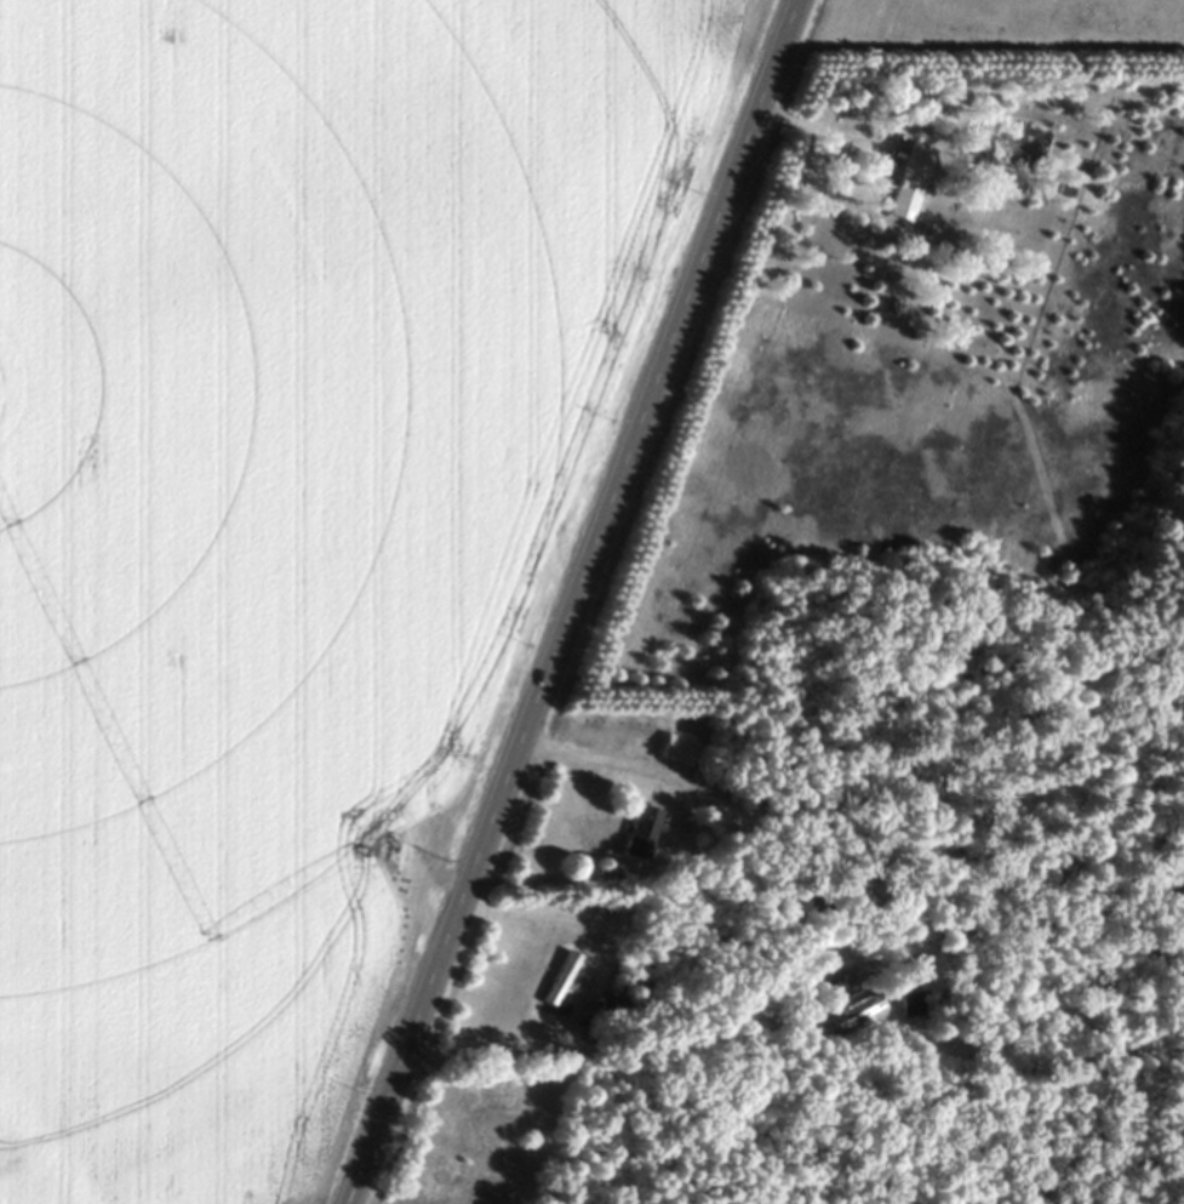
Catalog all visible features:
road: (816, 131)
building: (904, 182)
road: (568, 601)
building: (671, 748)
road: (589, 753)
building: (635, 832)
building: (555, 977)
building: (910, 1003)
building: (845, 1010)
road: (663, 1045)

